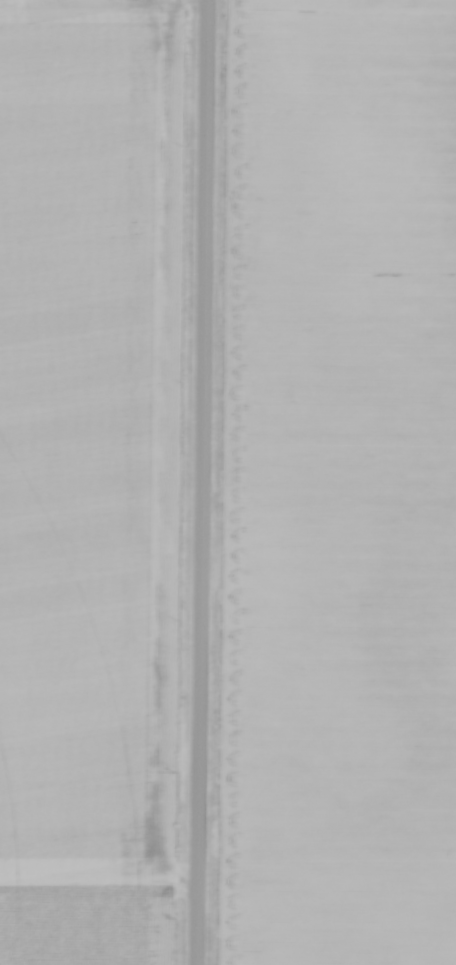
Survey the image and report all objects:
road: (197, 482)

